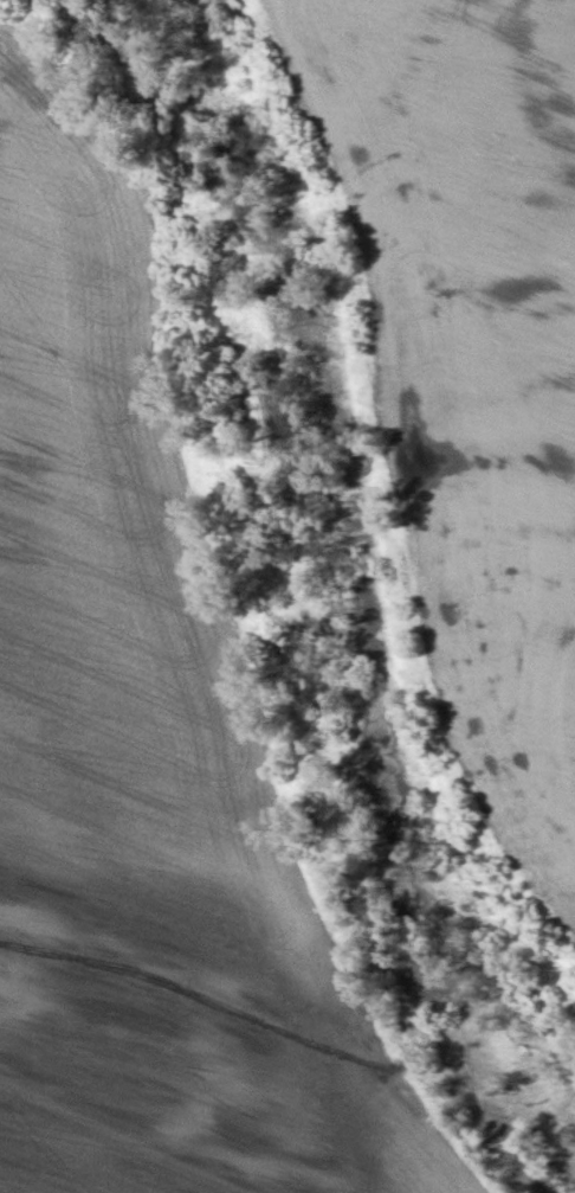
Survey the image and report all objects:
crop: (79, 222)
crop: (474, 366)
crop: (156, 847)

